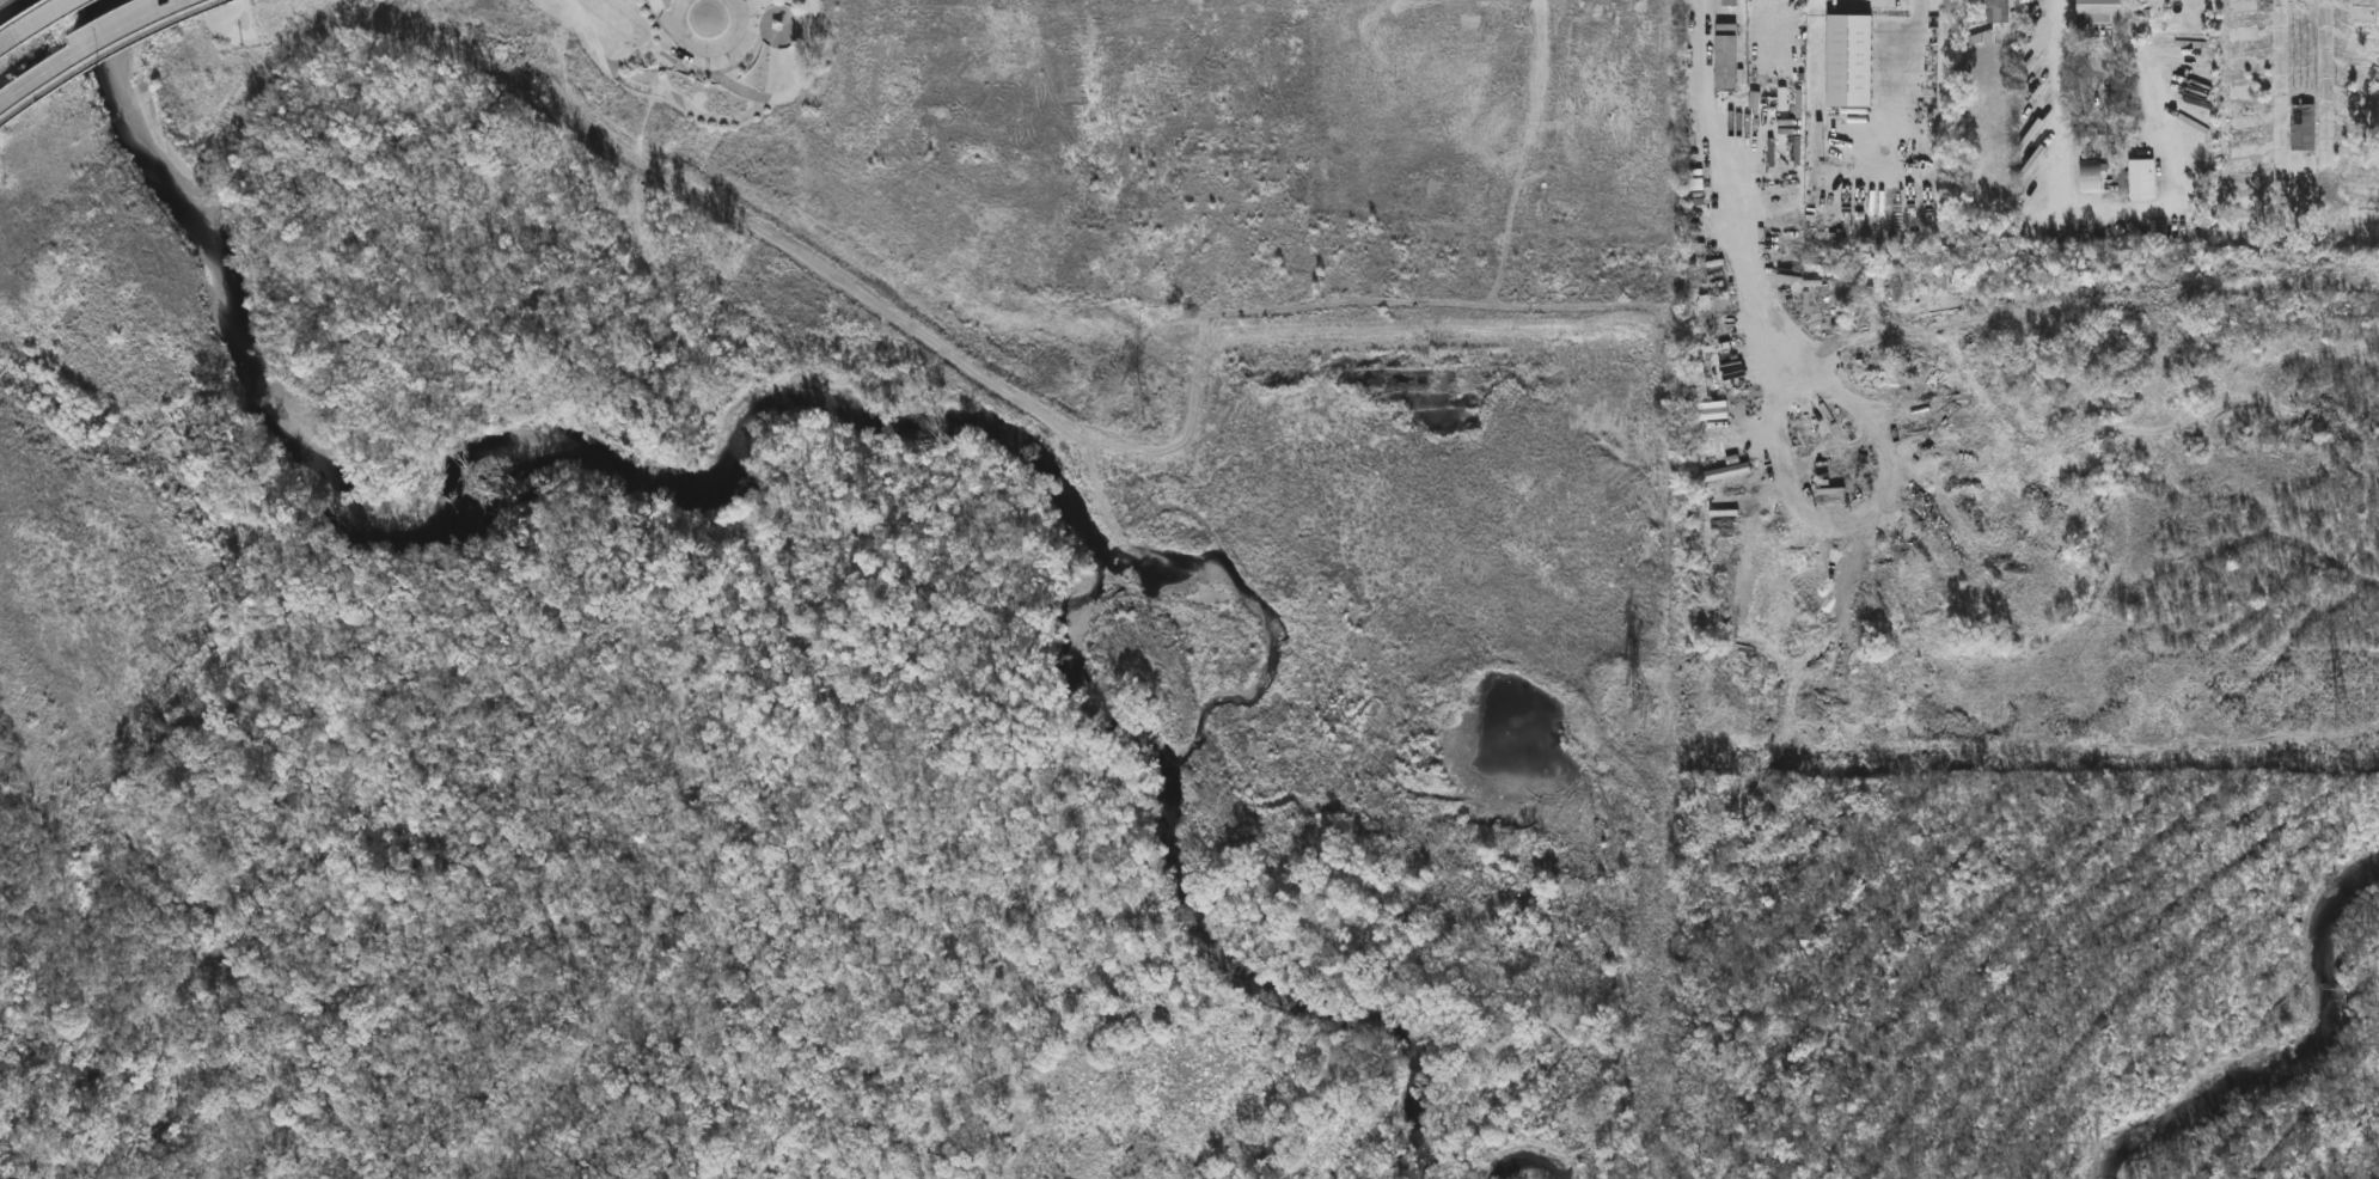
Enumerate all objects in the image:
building: (1998, 10)
building: (2100, 11)
road: (662, 16)
road: (38, 20)
road: (97, 49)
road: (709, 53)
building: (1727, 57)
road: (802, 62)
road: (120, 63)
road: (1916, 71)
road: (2060, 91)
road: (695, 114)
building: (2304, 126)
building: (2092, 176)
building: (2143, 179)
building: (1714, 303)
power tower: (1146, 410)
power tower: (1643, 713)
power tower: (2346, 713)

